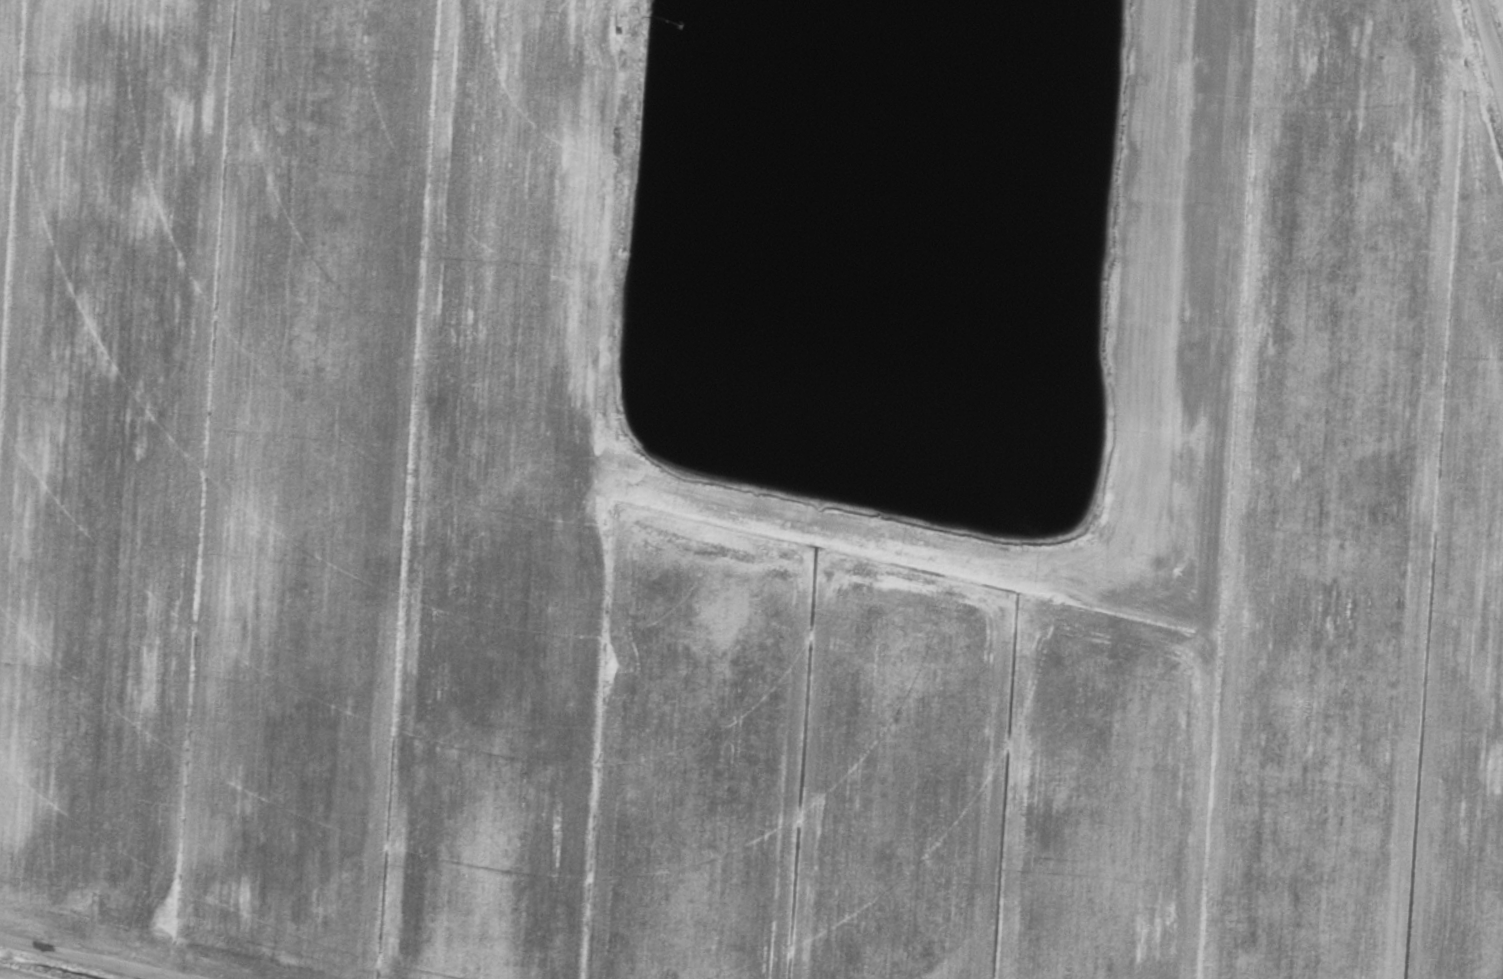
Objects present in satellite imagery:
road: (1490, 42)
road: (87, 958)

